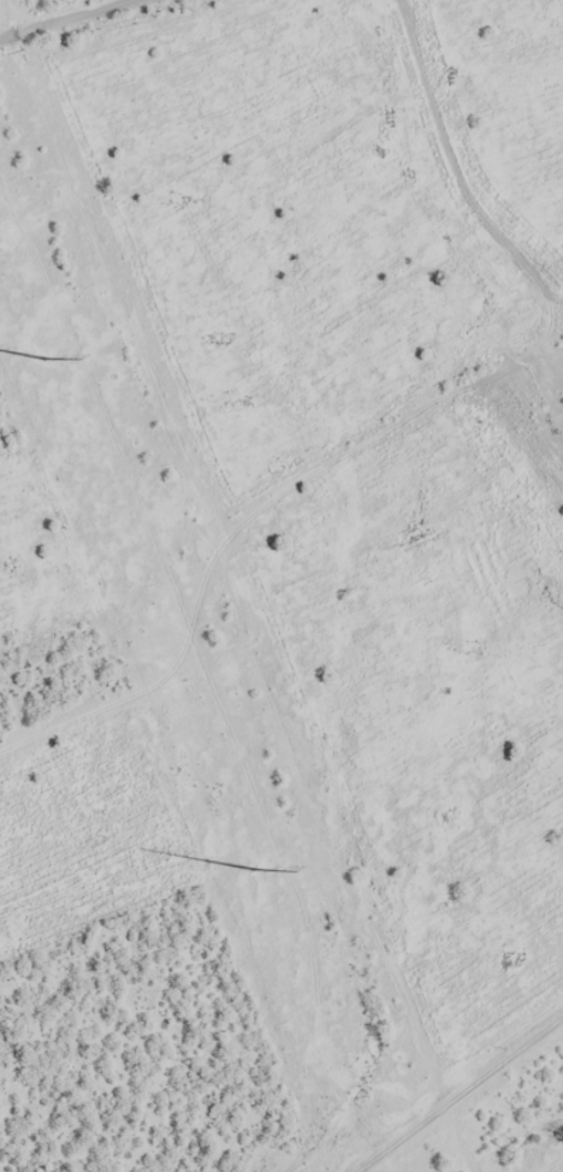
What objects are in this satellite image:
road: (7, 39)
road: (95, 41)
power tower: (71, 195)
power tower: (42, 356)
power tower: (201, 516)
power tower: (333, 834)
power tower: (251, 868)

